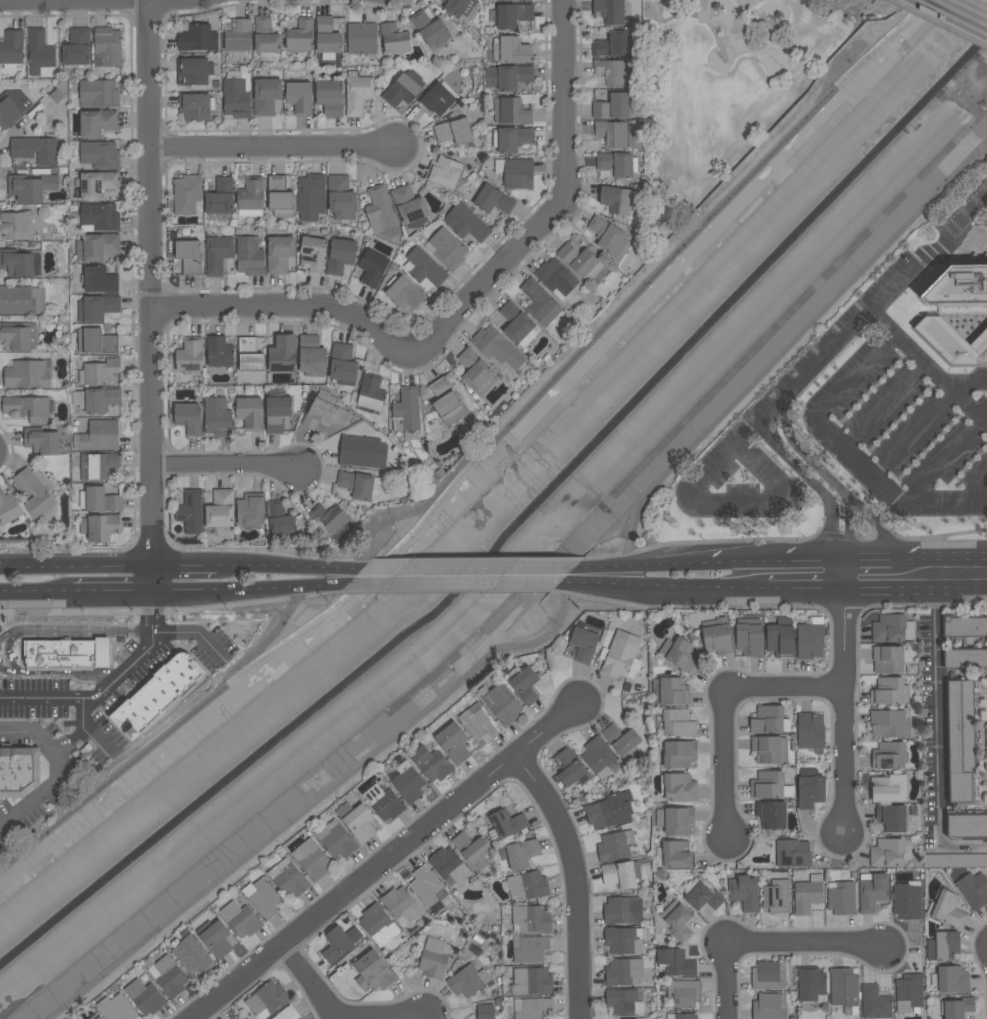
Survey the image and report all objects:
building: (514, 0)
road: (88, 2)
building: (459, 7)
road: (970, 8)
building: (610, 11)
building: (512, 15)
road: (693, 16)
road: (708, 22)
building: (430, 29)
building: (239, 35)
building: (300, 36)
building: (266, 37)
building: (198, 38)
building: (327, 38)
building: (362, 39)
building: (395, 41)
building: (612, 45)
building: (107, 48)
building: (12, 49)
building: (76, 49)
building: (512, 50)
building: (39, 51)
building: (193, 72)
building: (612, 72)
building: (508, 77)
park: (722, 88)
building: (403, 89)
building: (98, 93)
building: (266, 94)
building: (358, 94)
building: (56, 96)
building: (236, 96)
building: (299, 98)
building: (329, 98)
building: (437, 100)
building: (613, 106)
building: (12, 107)
building: (195, 107)
building: (511, 112)
building: (97, 123)
building: (453, 132)
building: (612, 134)
building: (512, 139)
building: (471, 146)
road: (273, 148)
building: (36, 150)
building: (100, 155)
road: (240, 162)
building: (616, 165)
building: (446, 173)
building: (516, 173)
building: (94, 185)
building: (31, 187)
building: (187, 195)
building: (221, 197)
building: (251, 197)
building: (280, 197)
building: (311, 197)
building: (341, 198)
building: (493, 200)
building: (616, 200)
building: (409, 207)
building: (381, 213)
building: (99, 218)
building: (466, 223)
building: (16, 226)
building: (607, 236)
building: (97, 247)
building: (448, 249)
building: (217, 254)
building: (279, 254)
building: (312, 254)
building: (340, 256)
building: (189, 257)
building: (249, 257)
building: (580, 262)
building: (17, 263)
building: (372, 268)
building: (424, 268)
building: (555, 278)
building: (99, 280)
road: (134, 282)
building: (956, 291)
building: (404, 293)
road: (152, 298)
building: (16, 300)
building: (37, 301)
building: (540, 303)
road: (876, 304)
road: (464, 306)
building: (96, 309)
building: (517, 325)
road: (167, 333)
building: (18, 337)
building: (96, 342)
building: (952, 347)
building: (497, 348)
building: (219, 352)
building: (282, 354)
building: (249, 355)
building: (190, 357)
building: (311, 357)
road: (780, 358)
building: (342, 366)
building: (99, 371)
building: (476, 372)
building: (27, 375)
road: (858, 377)
building: (371, 392)
building: (99, 401)
building: (447, 402)
road: (884, 404)
building: (28, 409)
building: (277, 410)
building: (250, 413)
building: (325, 413)
building: (406, 413)
road: (928, 413)
building: (217, 417)
building: (189, 418)
building: (100, 435)
building: (42, 443)
road: (11, 450)
building: (356, 452)
road: (482, 455)
road: (943, 457)
road: (722, 461)
road: (466, 462)
building: (98, 465)
road: (228, 465)
road: (828, 479)
road: (976, 484)
building: (359, 485)
road: (813, 485)
road: (889, 491)
building: (35, 495)
building: (100, 500)
building: (9, 508)
building: (220, 509)
building: (251, 510)
building: (191, 511)
road: (390, 519)
building: (332, 520)
building: (281, 521)
building: (99, 527)
road: (877, 527)
road: (944, 560)
road: (871, 561)
road: (785, 563)
road: (182, 565)
road: (73, 566)
road: (654, 566)
road: (288, 567)
road: (469, 570)
road: (459, 584)
road: (660, 584)
road: (793, 585)
road: (914, 585)
road: (244, 589)
road: (111, 595)
road: (37, 596)
building: (963, 625)
building: (891, 627)
road: (75, 632)
road: (195, 632)
building: (715, 636)
building: (749, 637)
building: (780, 637)
building: (809, 639)
road: (264, 644)
building: (583, 644)
road: (7, 652)
building: (67, 653)
building: (679, 654)
building: (620, 656)
building: (964, 658)
building: (887, 659)
road: (62, 672)
building: (524, 685)
road: (107, 687)
road: (781, 687)
building: (669, 691)
building: (889, 691)
building: (156, 694)
road: (842, 700)
building: (500, 703)
road: (936, 715)
building: (769, 720)
building: (478, 722)
building: (677, 723)
building: (887, 723)
building: (810, 730)
road: (79, 733)
building: (986, 738)
building: (959, 739)
building: (621, 741)
building: (453, 742)
building: (768, 749)
building: (676, 754)
building: (888, 755)
building: (599, 757)
building: (430, 764)
building: (568, 767)
road: (723, 767)
building: (18, 772)
road: (65, 774)
building: (407, 783)
building: (769, 785)
building: (678, 787)
building: (888, 787)
building: (809, 788)
road: (328, 800)
building: (383, 802)
building: (609, 811)
building: (771, 813)
building: (891, 817)
building: (674, 820)
building: (356, 821)
building: (507, 823)
building: (966, 825)
building: (335, 839)
building: (614, 845)
road: (963, 845)
building: (472, 850)
building: (886, 852)
building: (518, 853)
building: (792, 853)
building: (675, 854)
building: (311, 859)
road: (390, 860)
building: (448, 865)
building: (620, 874)
building: (287, 878)
road: (575, 880)
building: (526, 885)
building: (426, 886)
building: (973, 890)
building: (872, 891)
building: (744, 892)
building: (807, 894)
building: (776, 896)
building: (261, 897)
building: (703, 897)
building: (840, 898)
building: (907, 900)
building: (401, 905)
building: (948, 909)
building: (622, 910)
building: (240, 919)
building: (530, 919)
building: (679, 922)
building: (377, 924)
building: (214, 938)
building: (624, 940)
building: (339, 943)
road: (805, 945)
building: (942, 946)
building: (531, 950)
building: (192, 956)
building: (433, 958)
building: (675, 963)
building: (372, 971)
building: (624, 972)
building: (166, 975)
building: (768, 975)
building: (467, 980)
building: (952, 980)
building: (531, 981)
road: (725, 981)
road: (308, 984)
building: (811, 984)
building: (844, 989)
building: (908, 992)
building: (681, 993)
building: (144, 996)
building: (266, 999)
building: (623, 1002)
building: (875, 1003)
building: (768, 1006)
building: (956, 1007)
building: (115, 1008)
building: (532, 1008)
building: (485, 1012)
building: (286, 1013)
building: (681, 1016)
building: (95, 1017)
building: (237, 1018)
road: (407, 1018)

